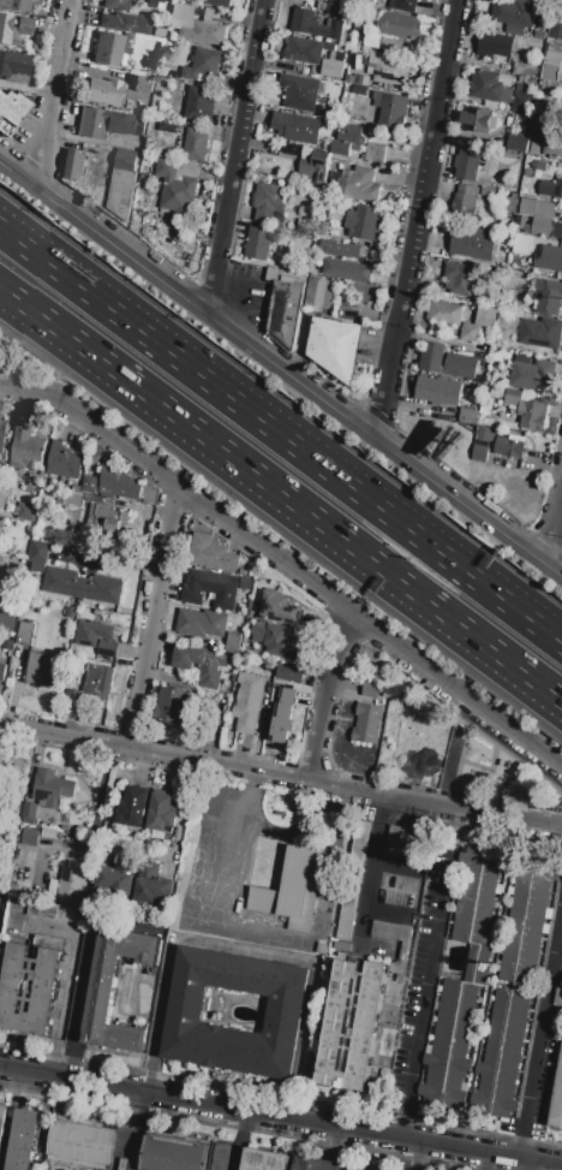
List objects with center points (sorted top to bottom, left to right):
building: (219, 2)
building: (113, 4)
building: (16, 5)
building: (406, 5)
building: (336, 10)
building: (514, 16)
building: (125, 22)
building: (309, 24)
building: (195, 25)
building: (402, 26)
building: (13, 29)
building: (556, 29)
building: (495, 46)
building: (112, 48)
building: (300, 52)
building: (14, 65)
building: (551, 65)
building: (333, 66)
building: (204, 67)
building: (390, 70)
building: (525, 70)
building: (143, 83)
building: (489, 85)
road: (56, 90)
building: (103, 90)
building: (303, 93)
building: (522, 100)
building: (195, 103)
building: (11, 111)
building: (393, 111)
building: (472, 118)
building: (108, 123)
building: (297, 127)
building: (347, 139)
building: (536, 139)
building: (518, 142)
building: (552, 142)
building: (196, 145)
building: (376, 153)
road: (234, 154)
building: (71, 164)
building: (467, 164)
building: (313, 165)
building: (122, 183)
building: (177, 184)
building: (359, 185)
building: (550, 190)
building: (465, 202)
building: (269, 203)
building: (538, 215)
road: (418, 220)
building: (364, 224)
building: (520, 224)
building: (557, 231)
building: (472, 242)
building: (258, 244)
building: (521, 244)
building: (337, 250)
building: (549, 260)
building: (347, 269)
building: (460, 279)
building: (513, 284)
building: (319, 292)
road: (237, 293)
building: (549, 298)
building: (286, 304)
building: (448, 314)
building: (485, 316)
building: (468, 333)
building: (540, 333)
building: (335, 346)
building: (446, 361)
road: (279, 364)
building: (532, 375)
building: (437, 391)
road: (30, 392)
building: (526, 411)
building: (467, 416)
road: (277, 430)
building: (2, 433)
building: (484, 434)
building: (509, 446)
building: (26, 449)
building: (478, 453)
building: (65, 462)
building: (0, 464)
building: (115, 481)
building: (2, 493)
road: (281, 497)
building: (28, 512)
building: (0, 519)
building: (110, 521)
road: (556, 534)
building: (207, 552)
building: (38, 557)
building: (0, 568)
building: (1, 577)
road: (311, 583)
building: (85, 587)
building: (213, 588)
building: (279, 607)
building: (71, 612)
road: (155, 616)
building: (7, 622)
building: (202, 624)
building: (258, 628)
building: (26, 634)
building: (98, 637)
road: (558, 637)
road: (558, 639)
building: (281, 643)
building: (203, 665)
building: (40, 669)
building: (270, 670)
building: (2, 672)
building: (293, 672)
building: (92, 687)
building: (371, 690)
road: (329, 694)
building: (274, 699)
building: (246, 702)
building: (172, 706)
building: (281, 715)
building: (366, 724)
road: (280, 771)
building: (54, 789)
building: (132, 807)
building: (163, 812)
building: (30, 814)
building: (30, 837)
building: (49, 838)
building: (405, 843)
road: (370, 867)
building: (118, 877)
building: (353, 879)
building: (72, 881)
road: (221, 881)
building: (154, 885)
building: (19, 886)
building: (292, 890)
building: (477, 905)
building: (56, 913)
building: (526, 925)
building: (393, 936)
road: (245, 952)
road: (425, 984)
building: (29, 988)
building: (100, 996)
building: (557, 998)
building: (285, 1010)
road: (58, 1025)
building: (352, 1027)
road: (538, 1033)
building: (449, 1044)
building: (502, 1055)
building: (557, 1101)
road: (280, 1118)
building: (2, 1121)
building: (23, 1140)
building: (83, 1145)
building: (173, 1156)
building: (217, 1157)
building: (264, 1160)
building: (121, 1164)
building: (131, 1164)
building: (318, 1166)

